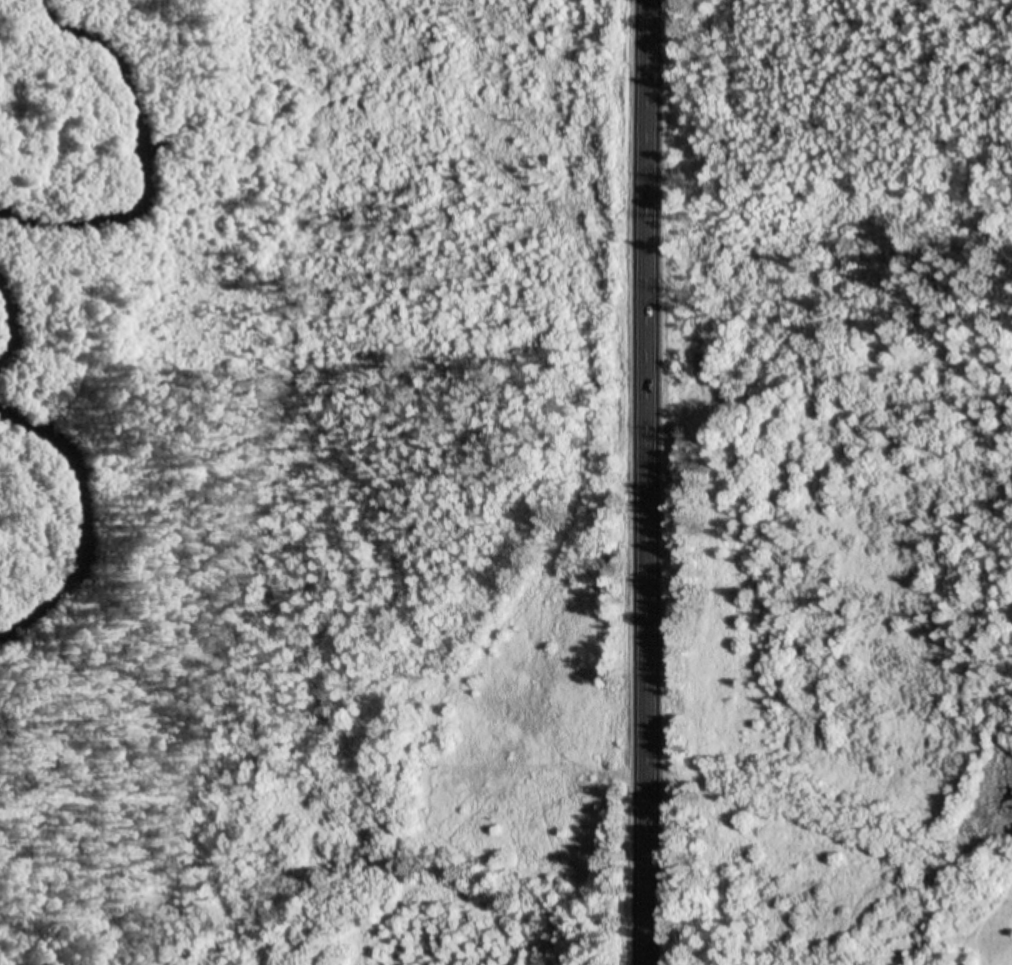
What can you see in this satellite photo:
road: (655, 482)

